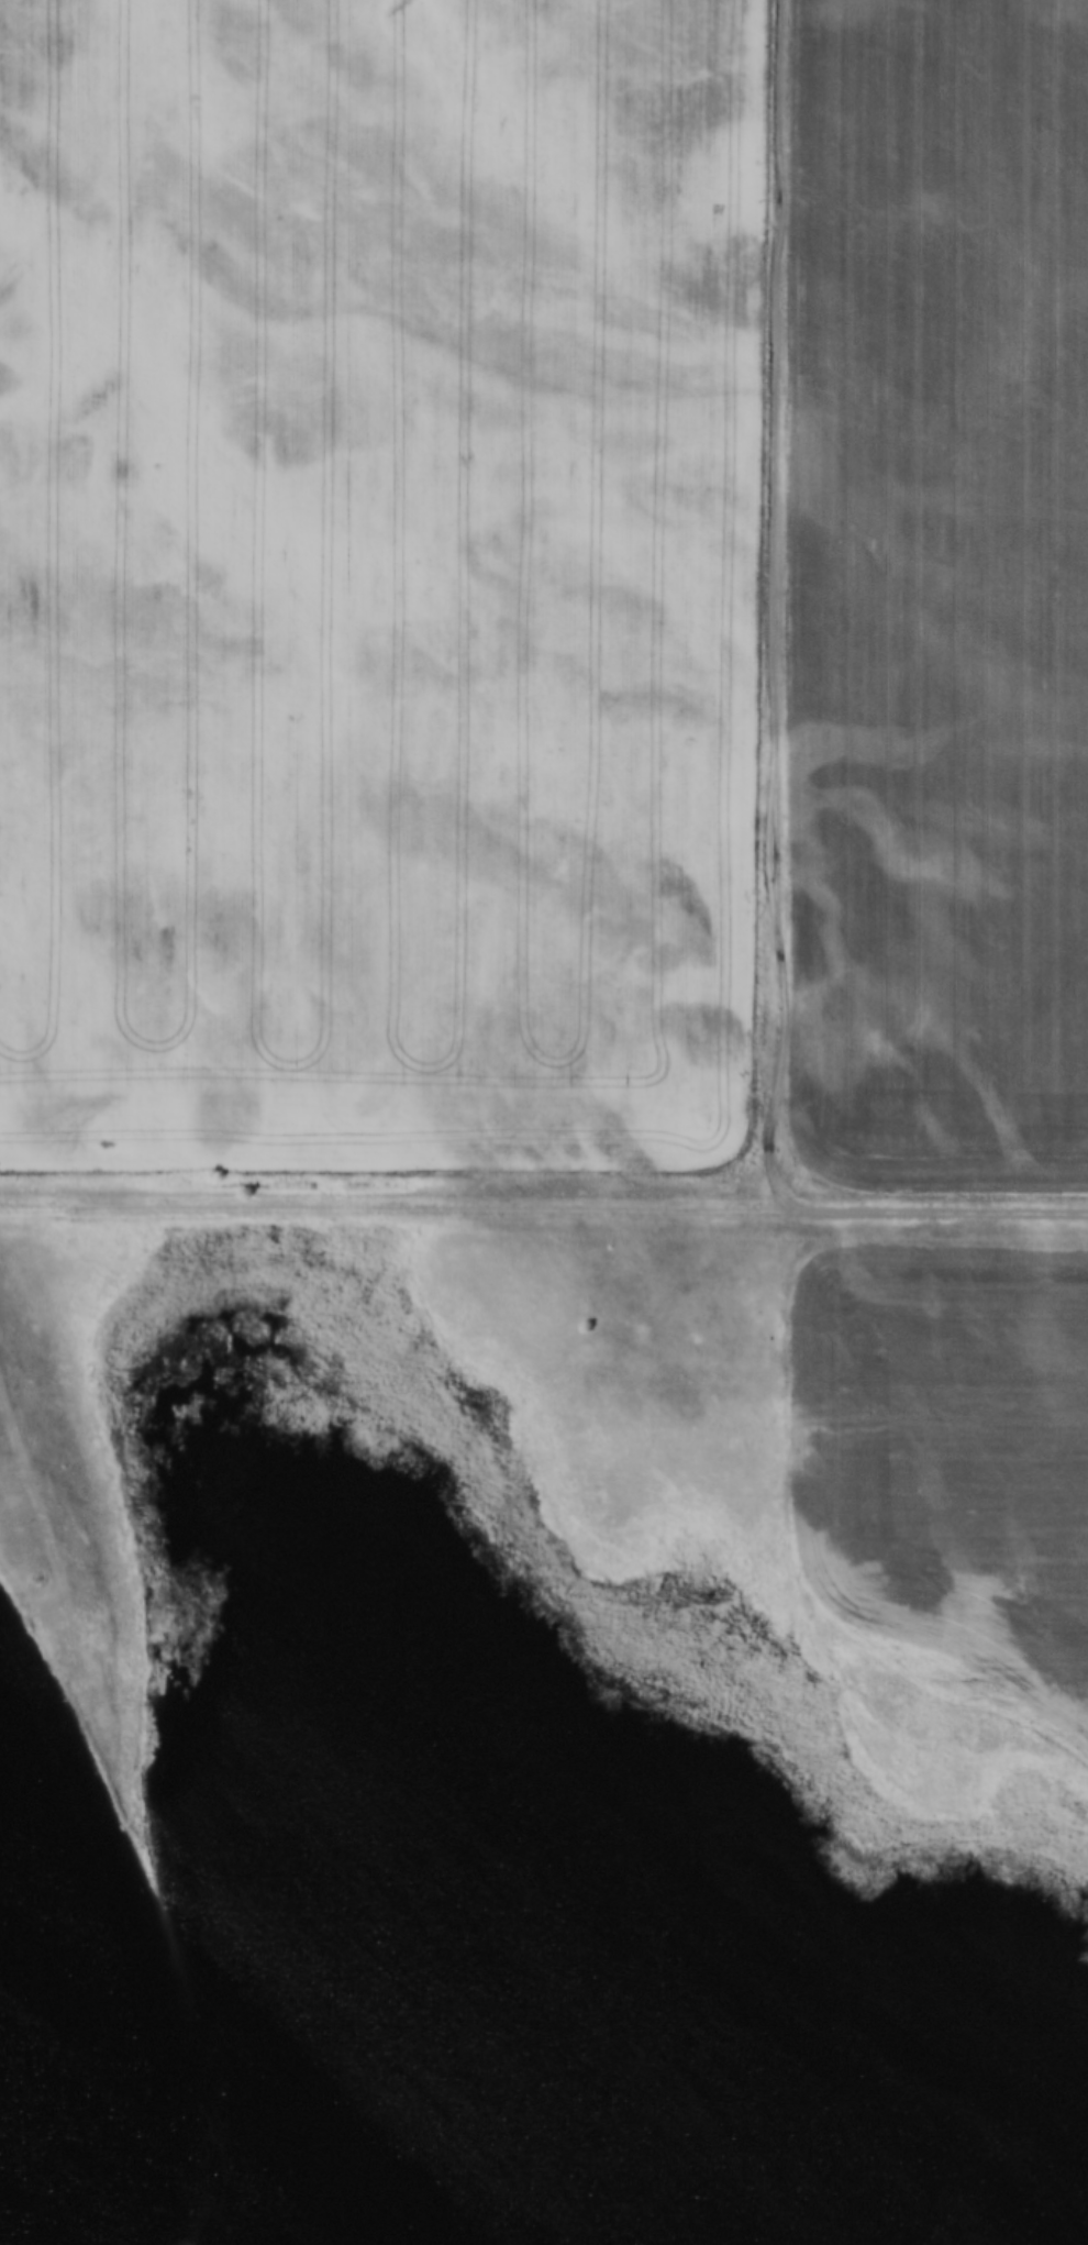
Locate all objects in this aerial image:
road: (770, 605)
road: (544, 1209)
road: (9, 1438)
road: (48, 1525)

